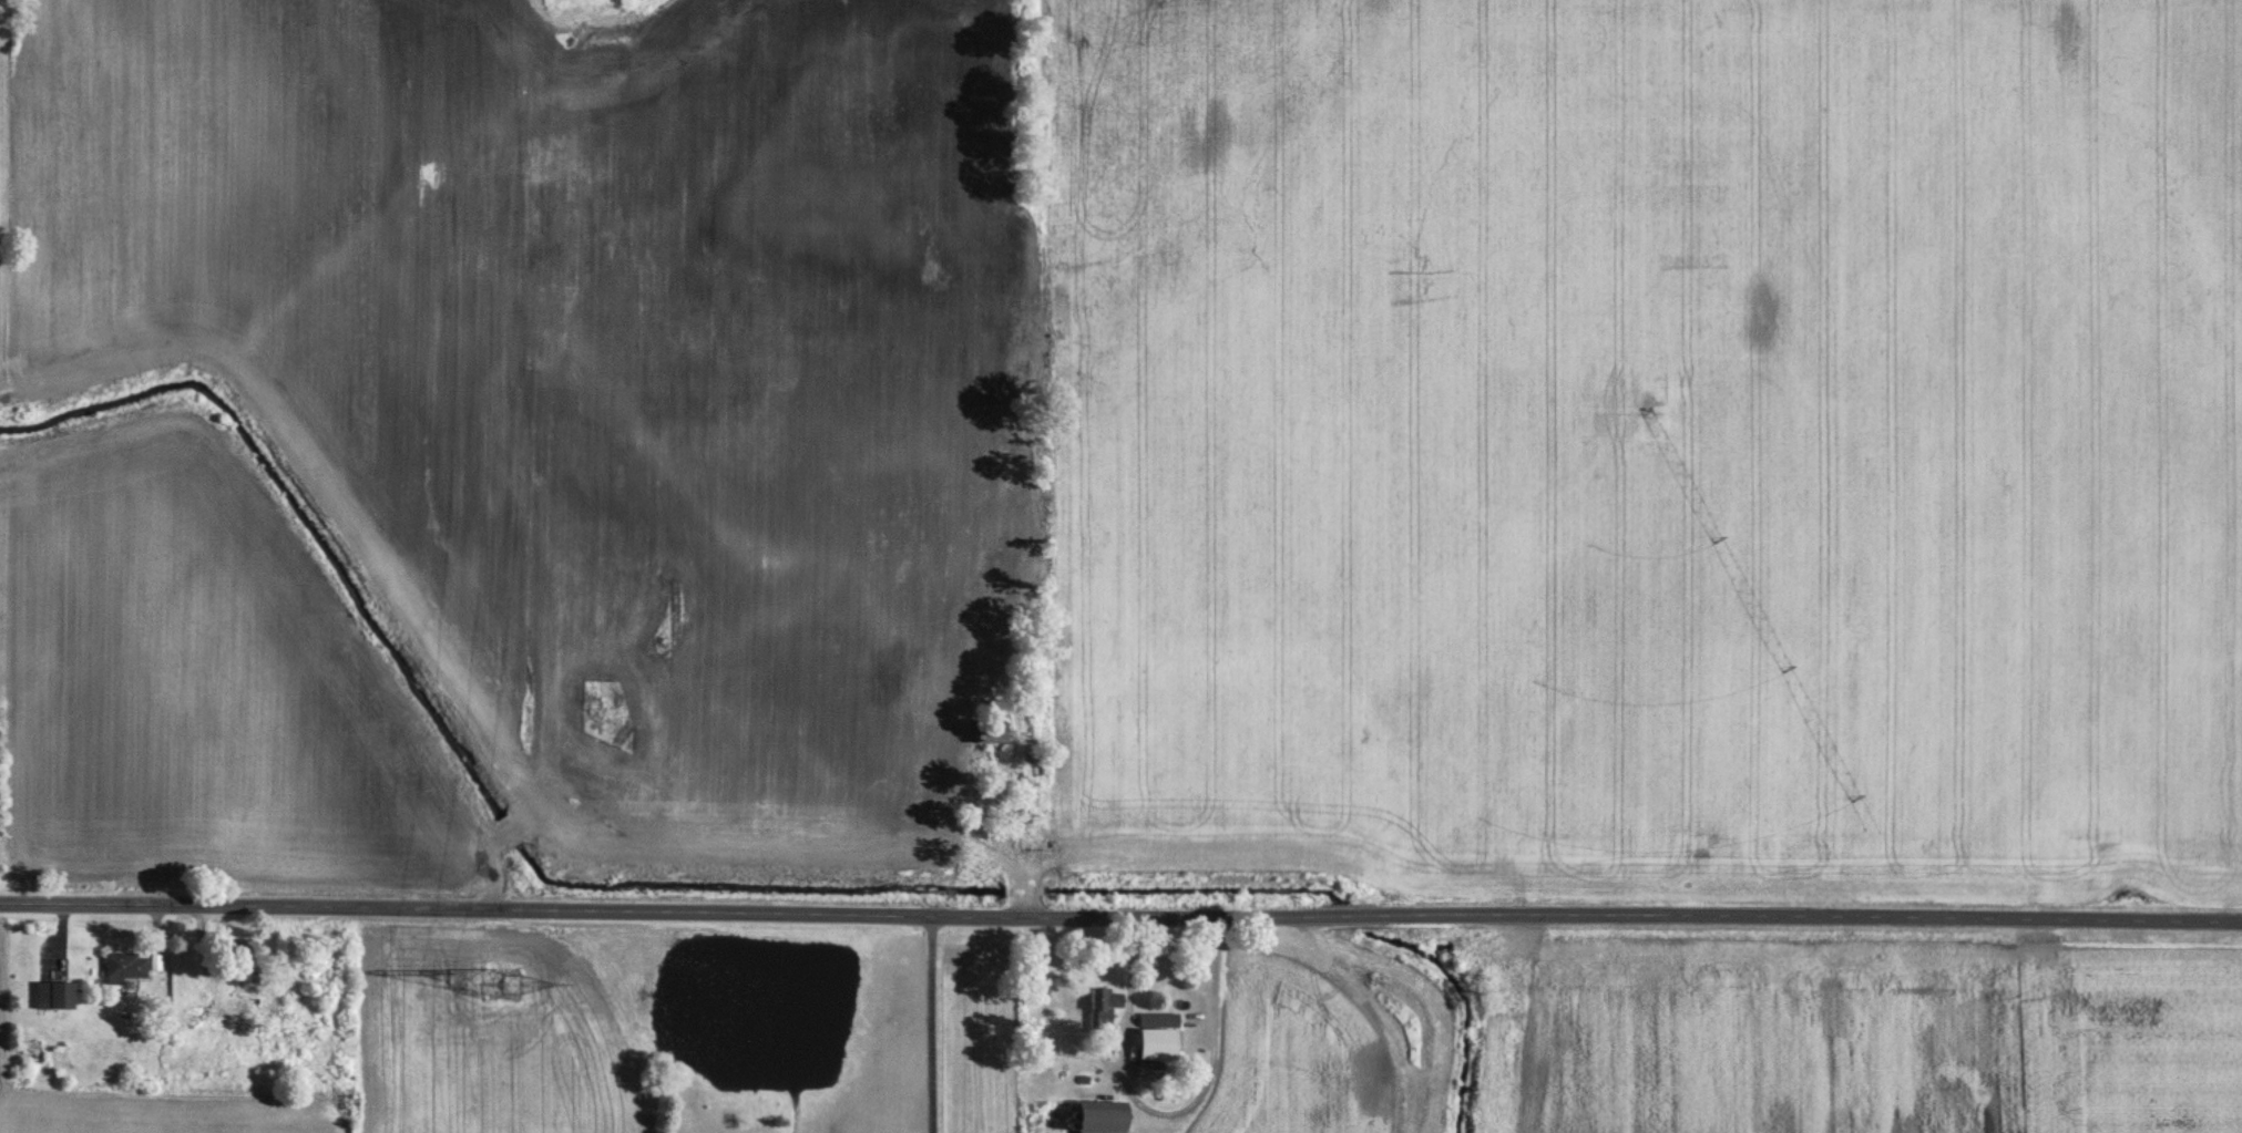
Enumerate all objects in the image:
building: (995, 733)
road: (1120, 918)
building: (130, 965)
power tower: (508, 980)
building: (59, 993)
building: (1106, 1005)
building: (202, 1013)
road: (933, 1024)
building: (1161, 1036)
road: (1166, 1112)
building: (1107, 1116)

